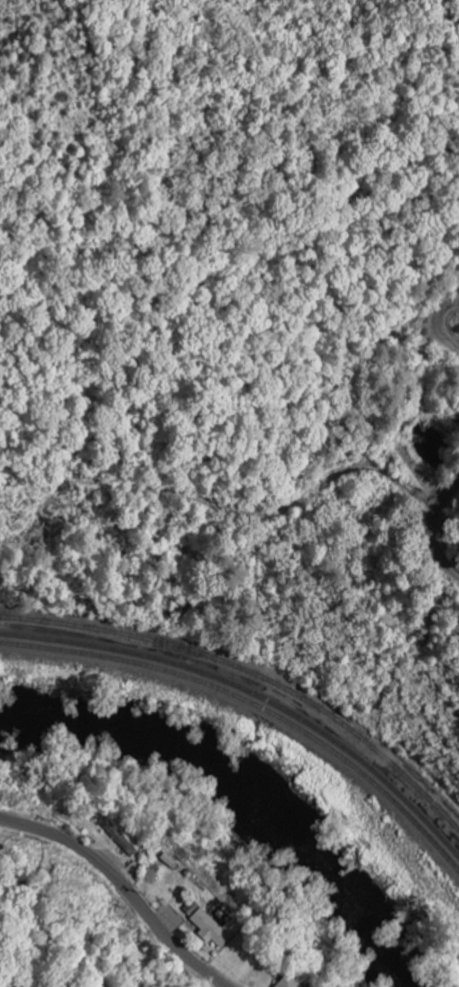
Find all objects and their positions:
railway: (253, 694)
railway: (255, 706)
river: (244, 797)
road: (123, 887)
building: (207, 927)
building: (285, 983)

